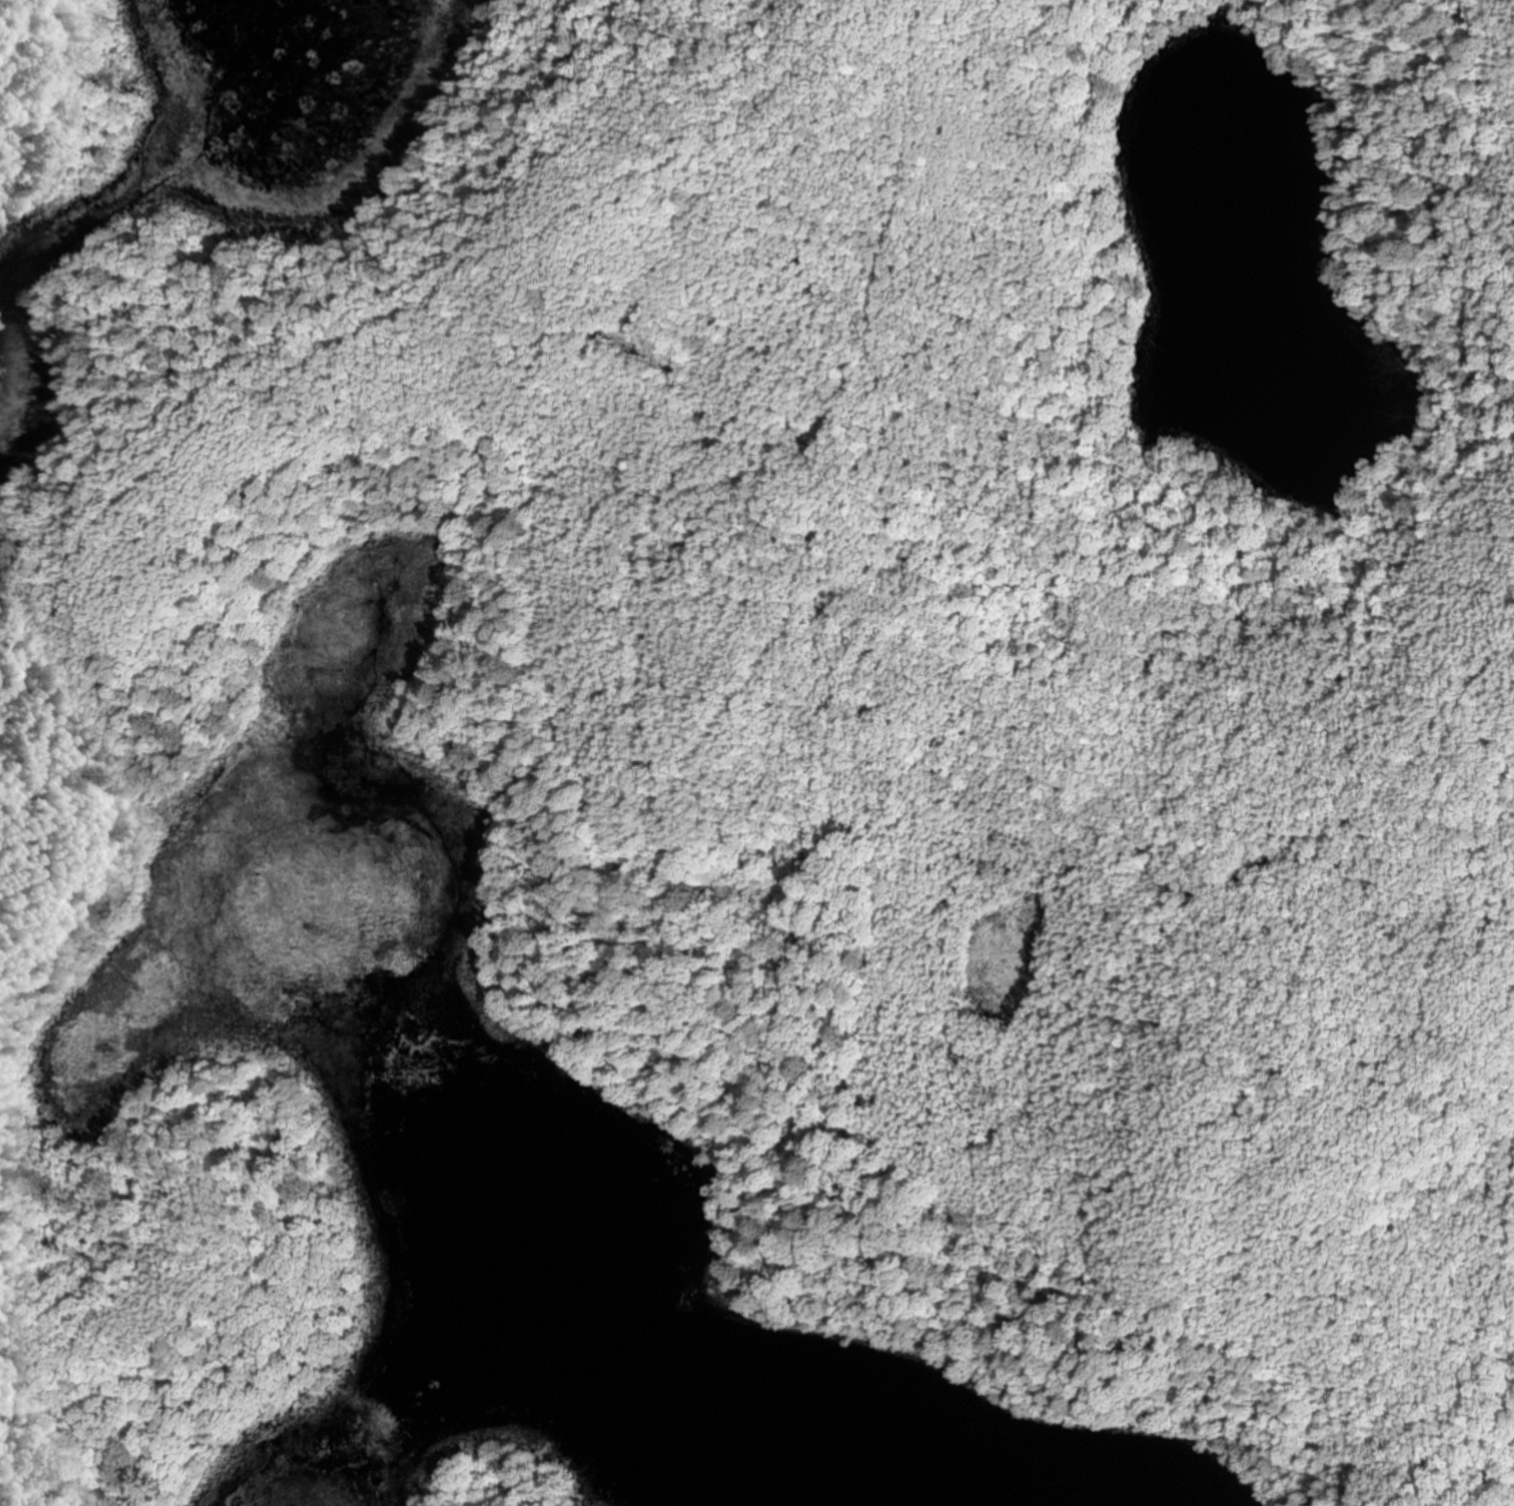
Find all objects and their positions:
road: (336, 355)
road: (839, 420)

